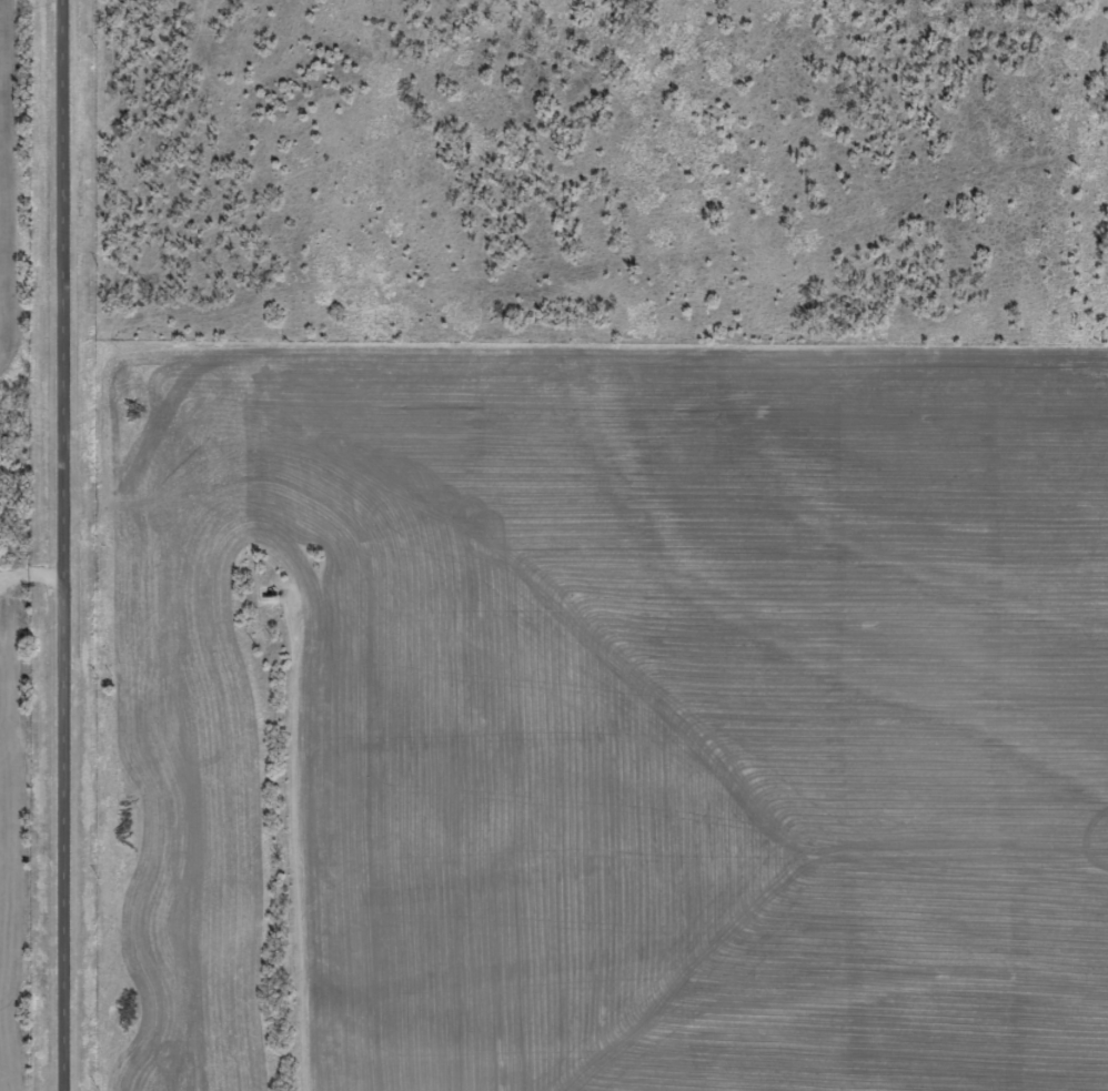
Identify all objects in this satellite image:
road: (59, 545)
road: (30, 609)
road: (291, 1088)

